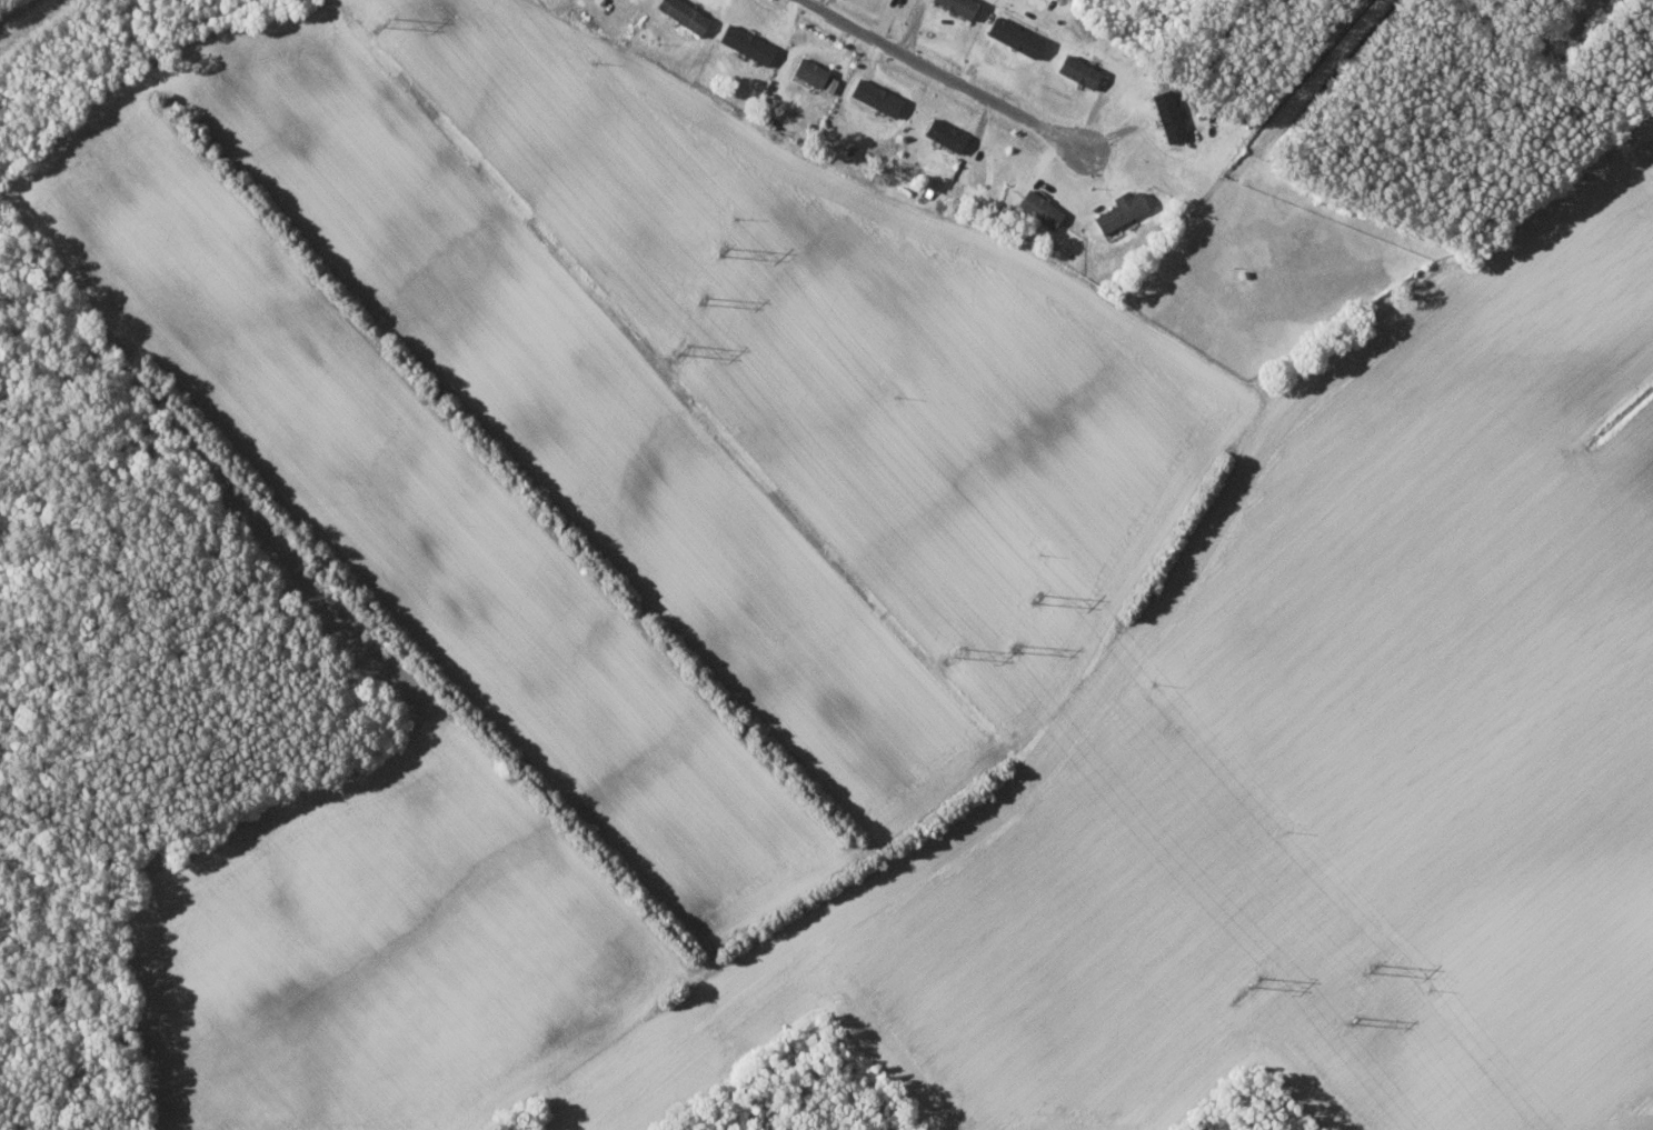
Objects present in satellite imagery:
building: (959, 7)
building: (686, 14)
road: (23, 17)
power tower: (387, 21)
building: (1016, 34)
building: (747, 44)
building: (1079, 71)
building: (810, 72)
road: (949, 77)
road: (1312, 87)
building: (875, 97)
building: (796, 112)
building: (1169, 114)
building: (947, 134)
building: (1042, 208)
building: (1122, 212)
power tower: (725, 251)
power tower: (704, 298)
power tower: (684, 350)
power tower: (1039, 600)
power tower: (1019, 646)
power tower: (957, 651)
power tower: (1374, 967)
power tower: (1255, 981)
power tower: (1355, 1019)

